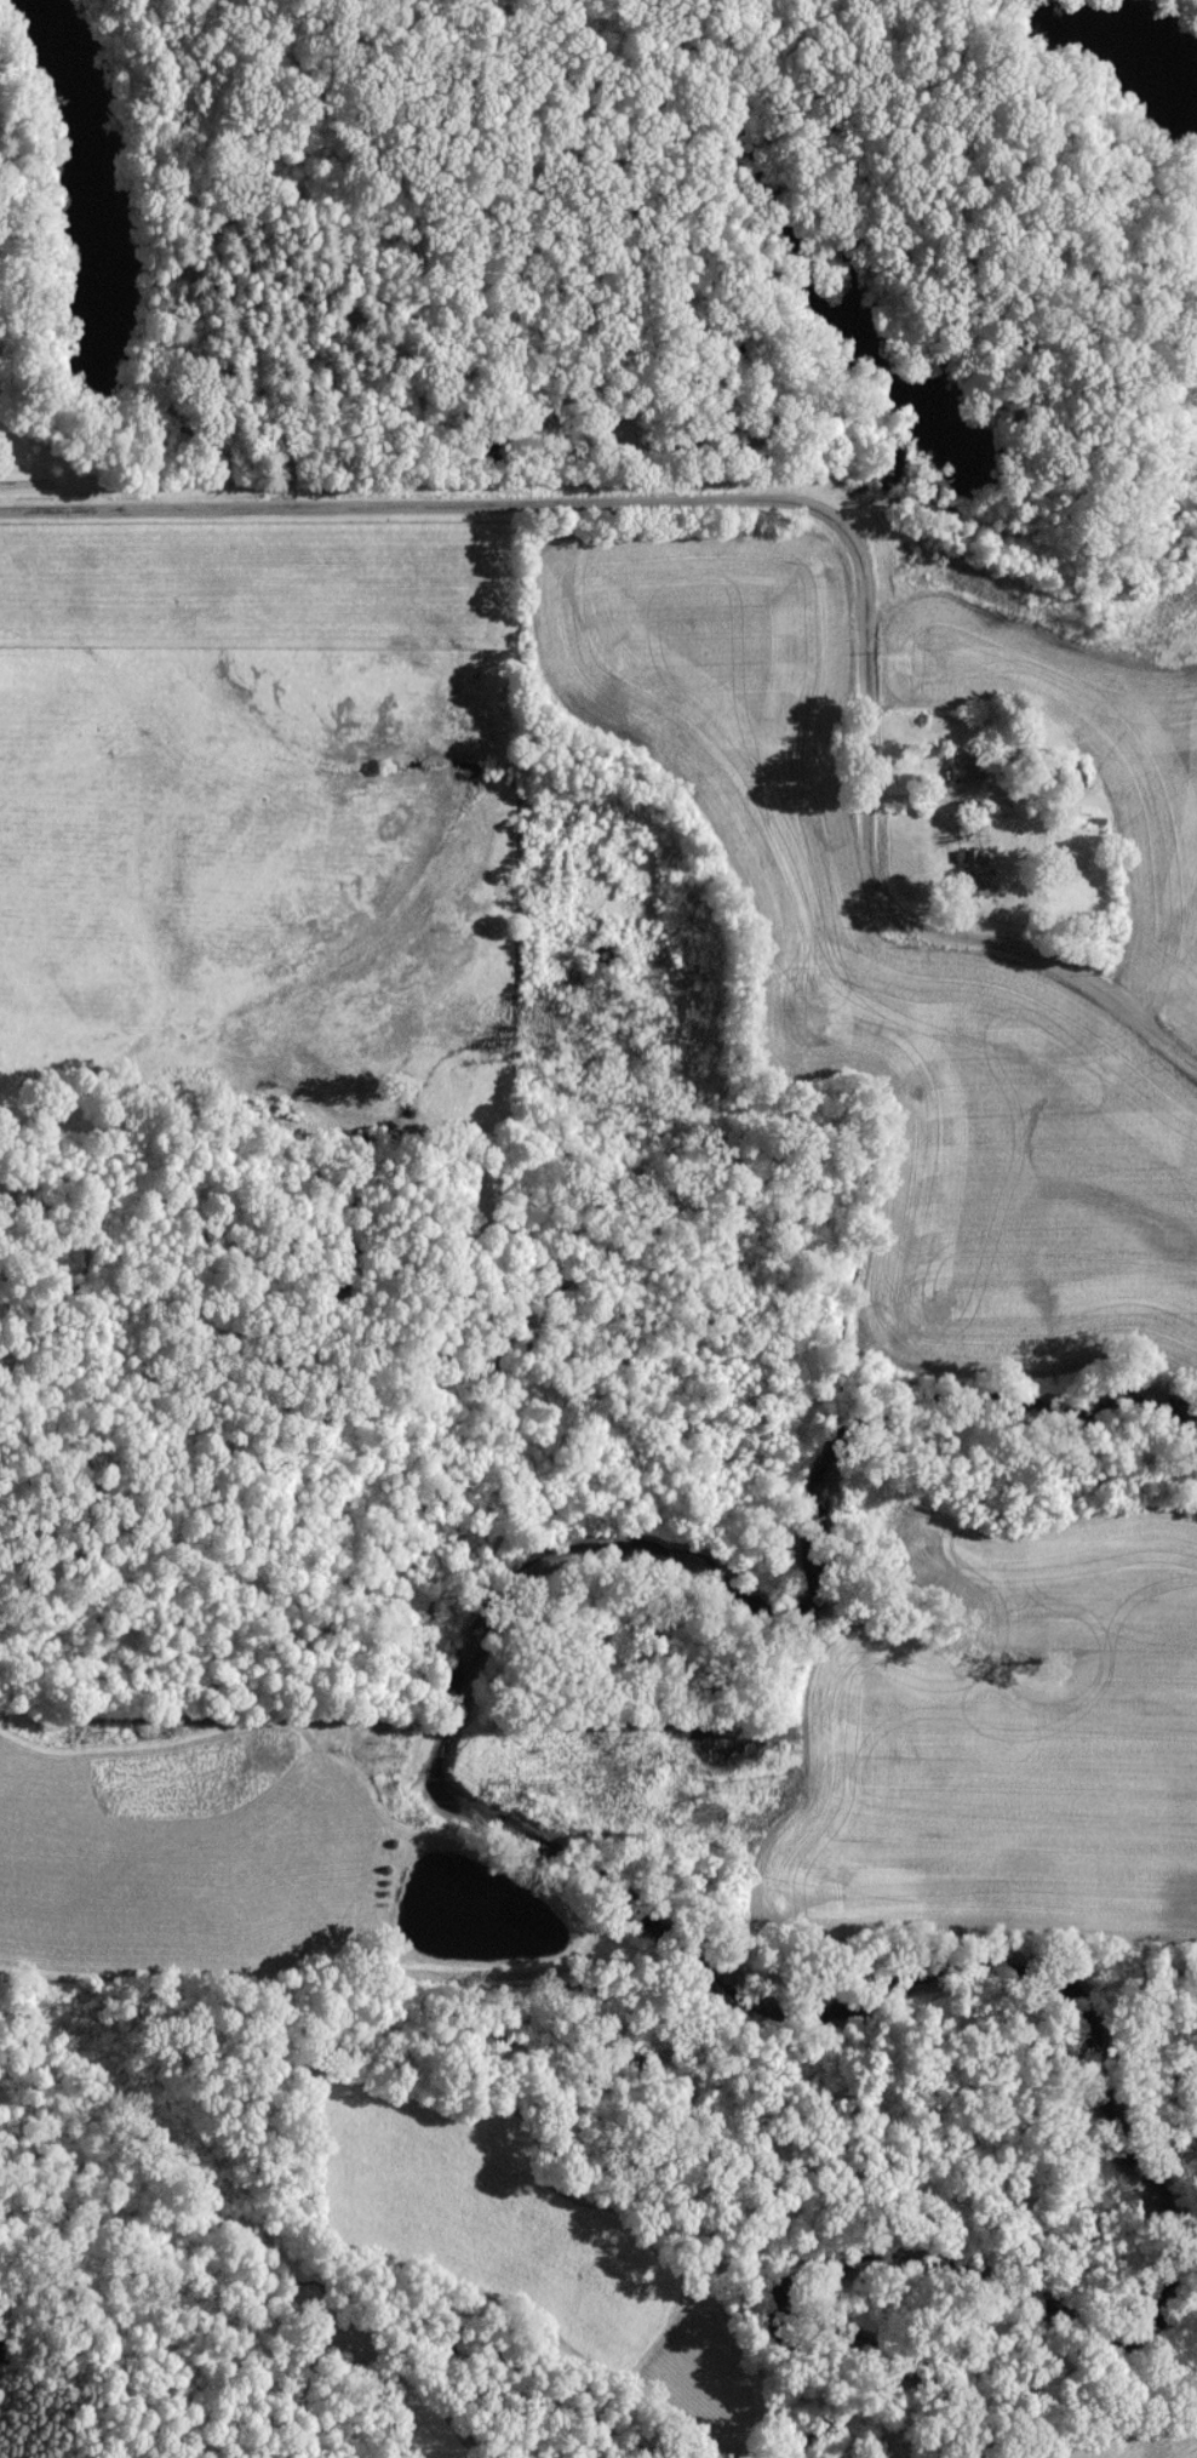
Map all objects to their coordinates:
road: (422, 513)
building: (968, 773)
building: (974, 879)
road: (878, 897)
power tower: (790, 1787)

